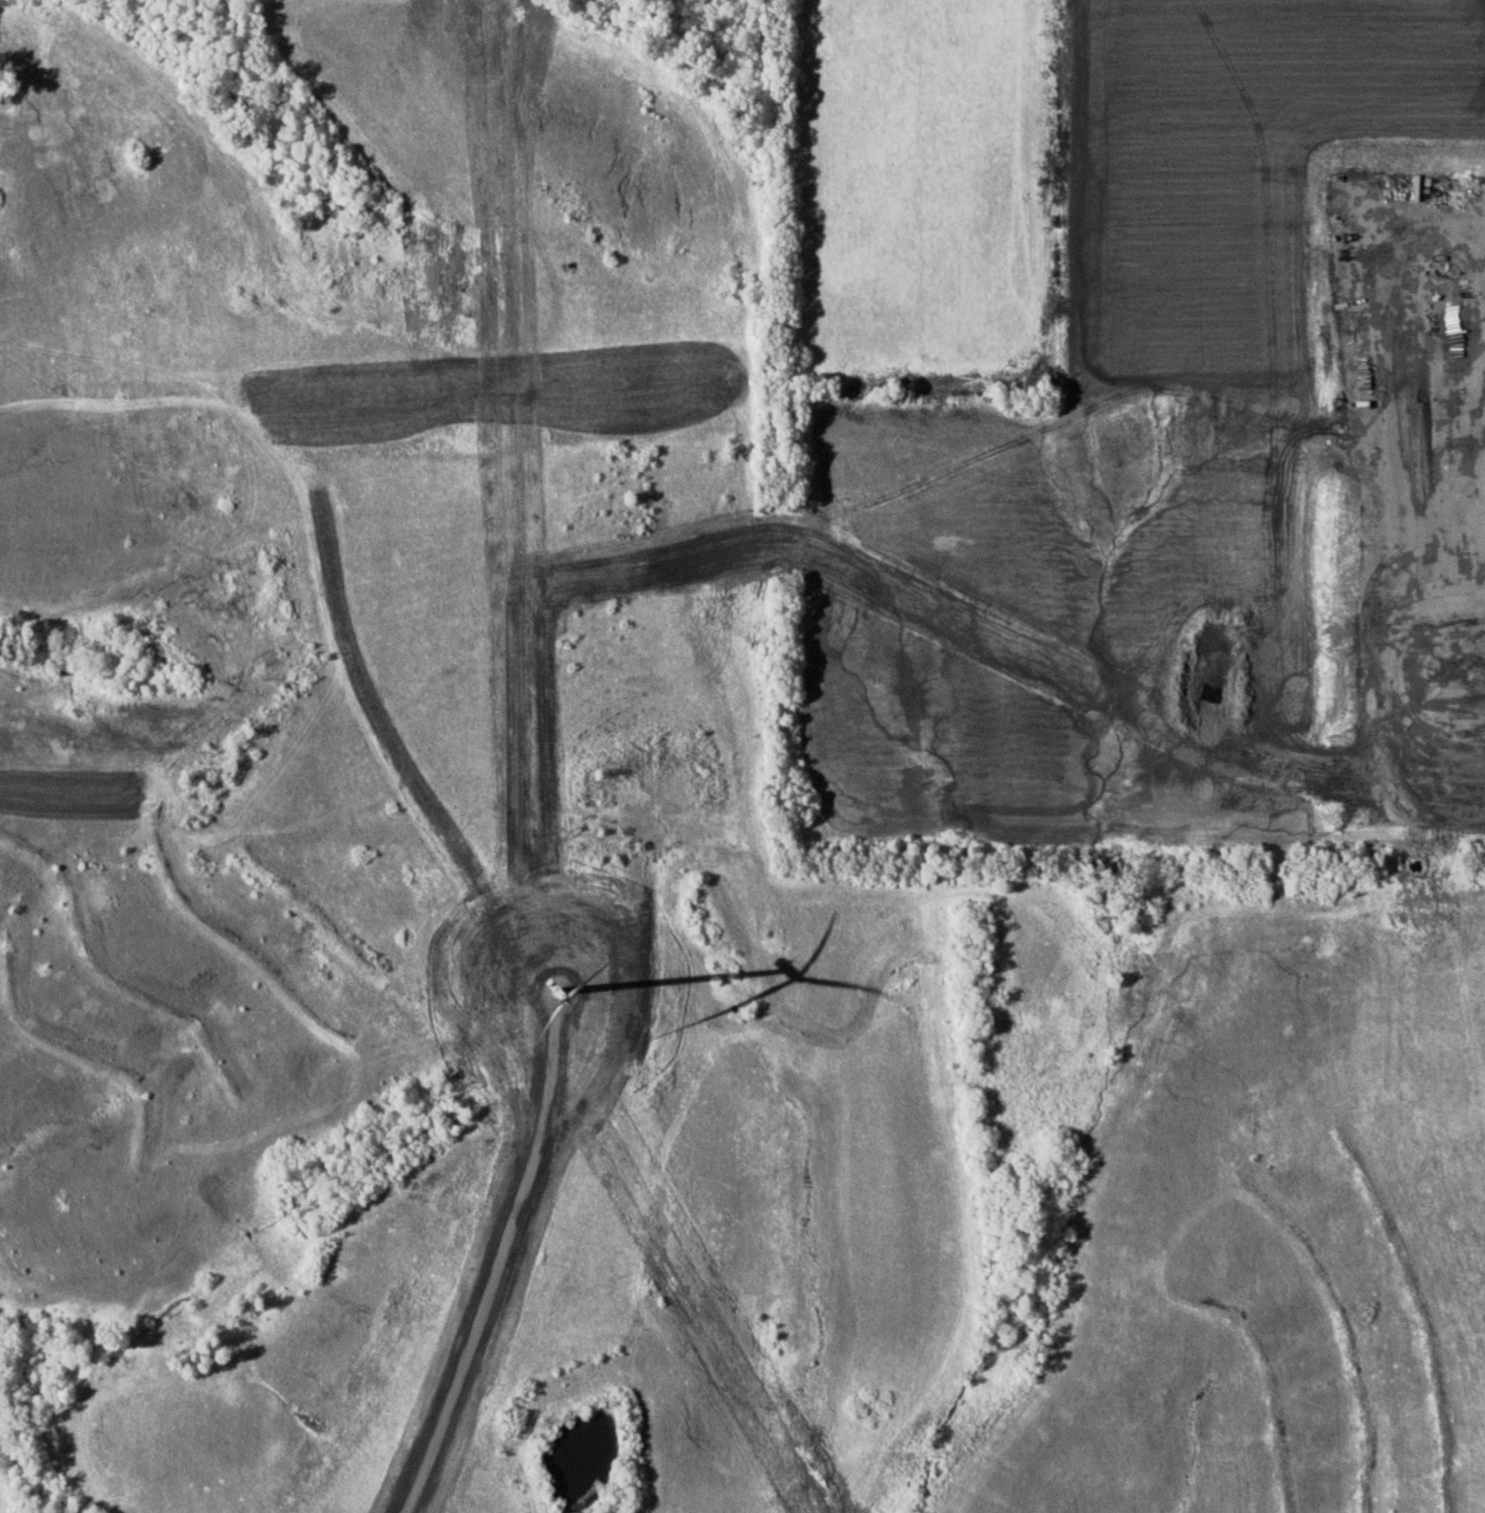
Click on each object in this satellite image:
wind turbine: (560, 988)

